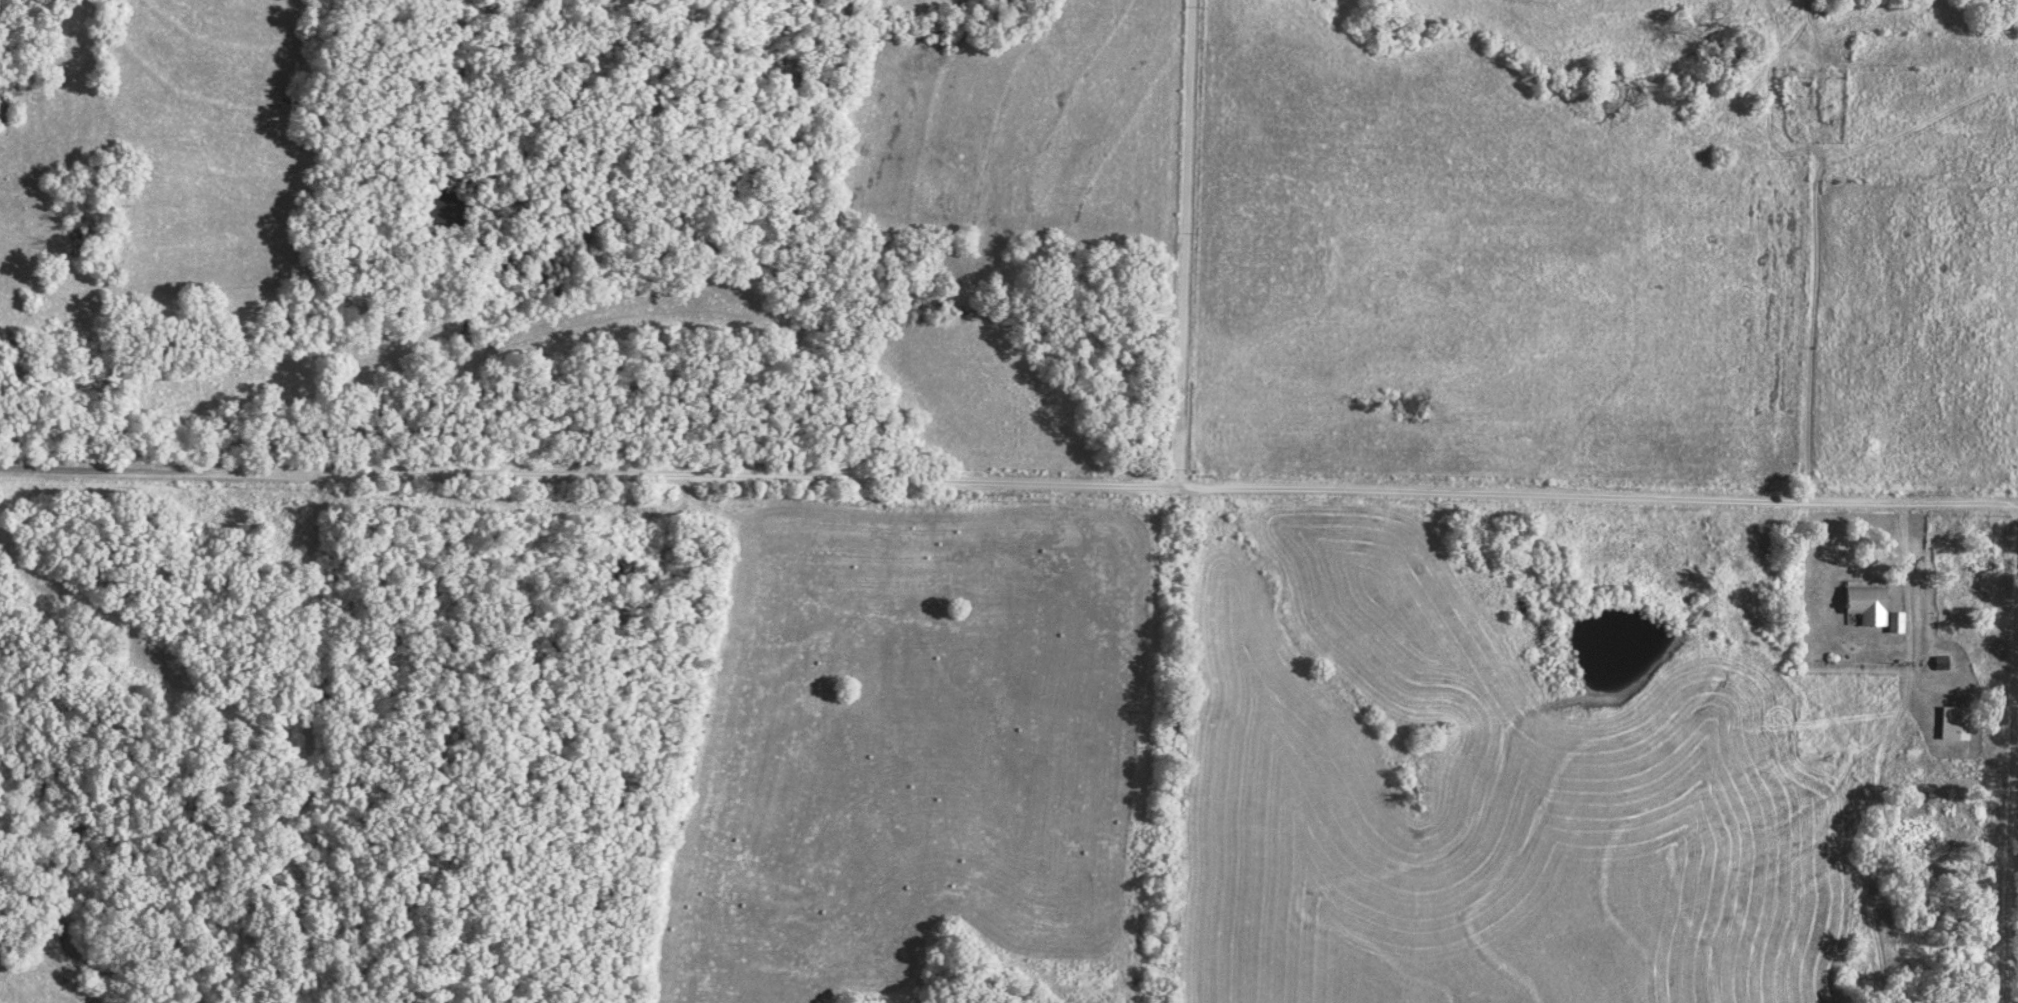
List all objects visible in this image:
road: (1850, 62)
road: (1184, 243)
road: (1810, 245)
building: (15, 356)
road: (1009, 480)
building: (1872, 607)
building: (1940, 662)
building: (1953, 722)
road: (2010, 753)

